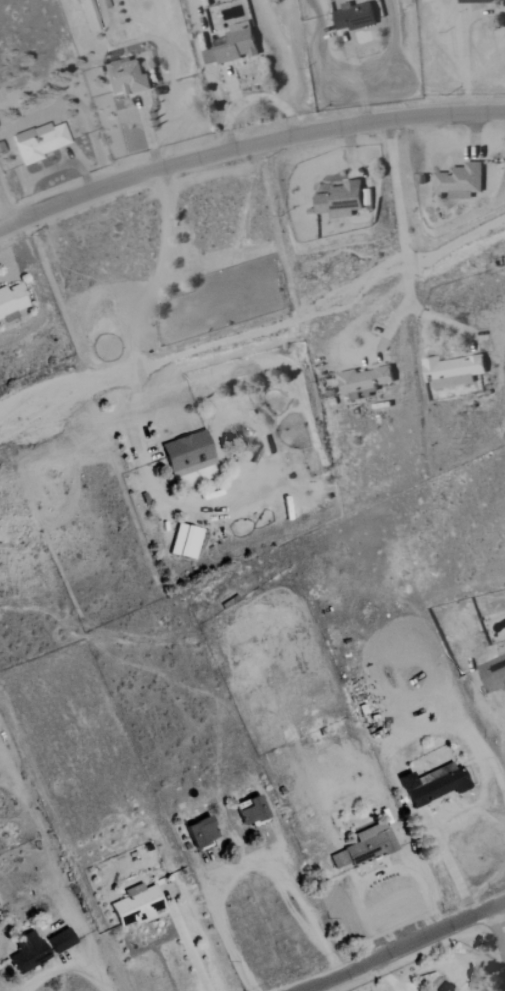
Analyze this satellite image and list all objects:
building: (474, 1)
building: (88, 16)
building: (355, 16)
building: (232, 47)
road: (463, 64)
road: (356, 77)
building: (126, 78)
road: (251, 99)
building: (38, 142)
road: (246, 147)
building: (460, 182)
building: (341, 201)
road: (398, 209)
building: (10, 302)
road: (141, 316)
building: (452, 371)
building: (364, 383)
building: (188, 454)
building: (185, 542)
building: (494, 675)
building: (406, 780)
building: (439, 787)
building: (251, 811)
building: (201, 831)
building: (365, 846)
road: (248, 863)
road: (447, 864)
road: (385, 874)
building: (136, 905)
road: (499, 924)
building: (60, 940)
road: (183, 940)
road: (405, 946)
building: (26, 952)
road: (67, 967)

